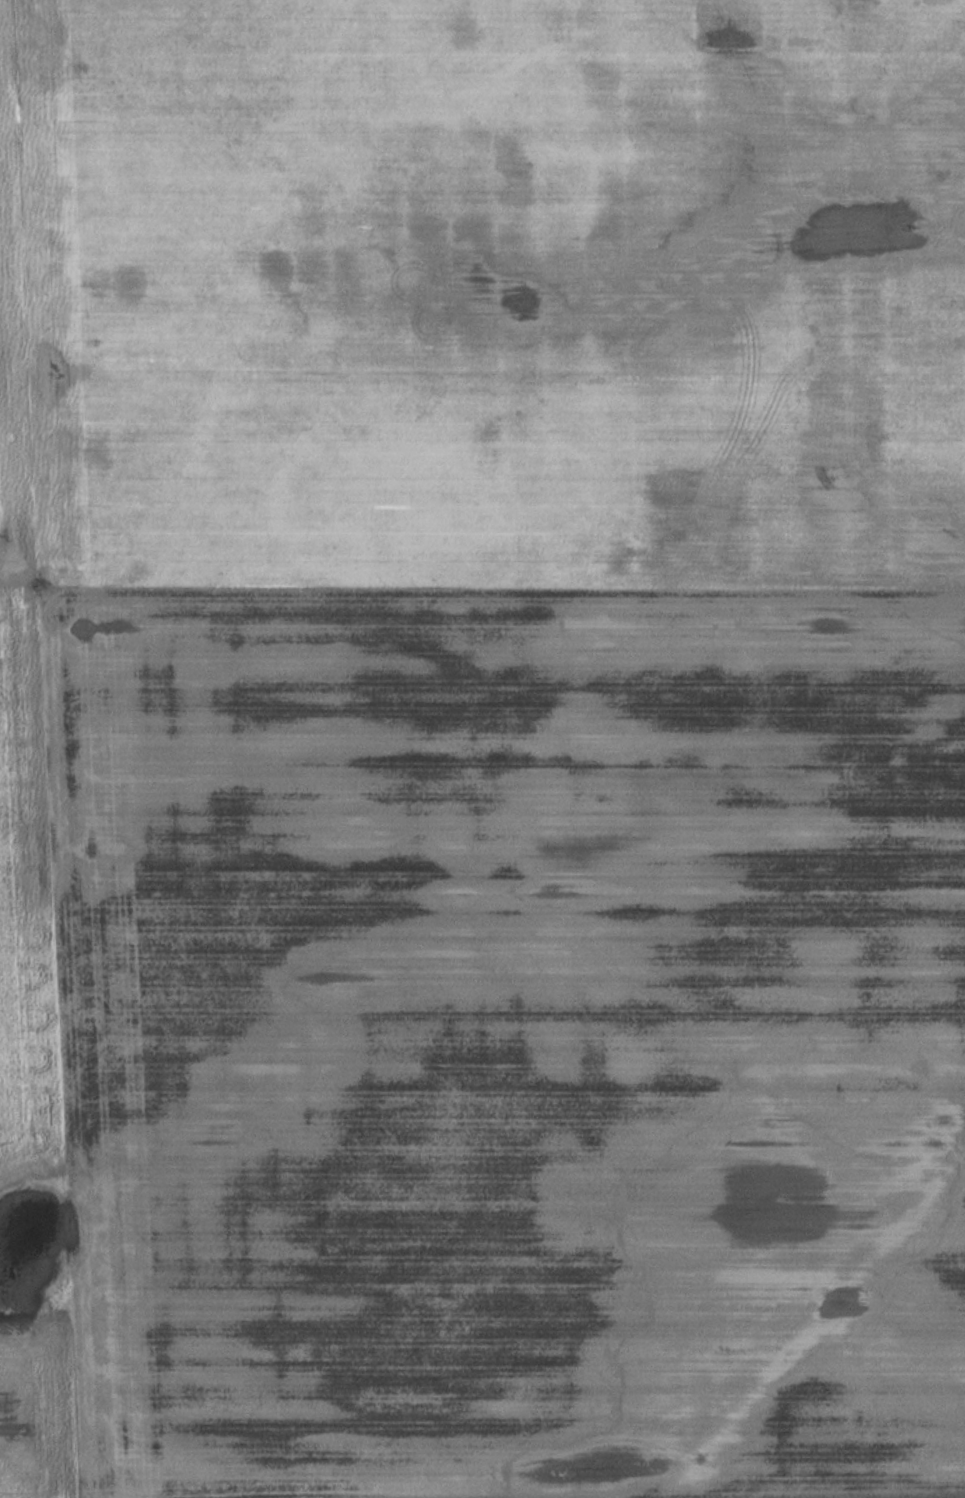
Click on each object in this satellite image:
crop: (494, 288)
crop: (11, 332)
crop: (23, 892)
crop: (508, 1034)
crop: (37, 1431)

